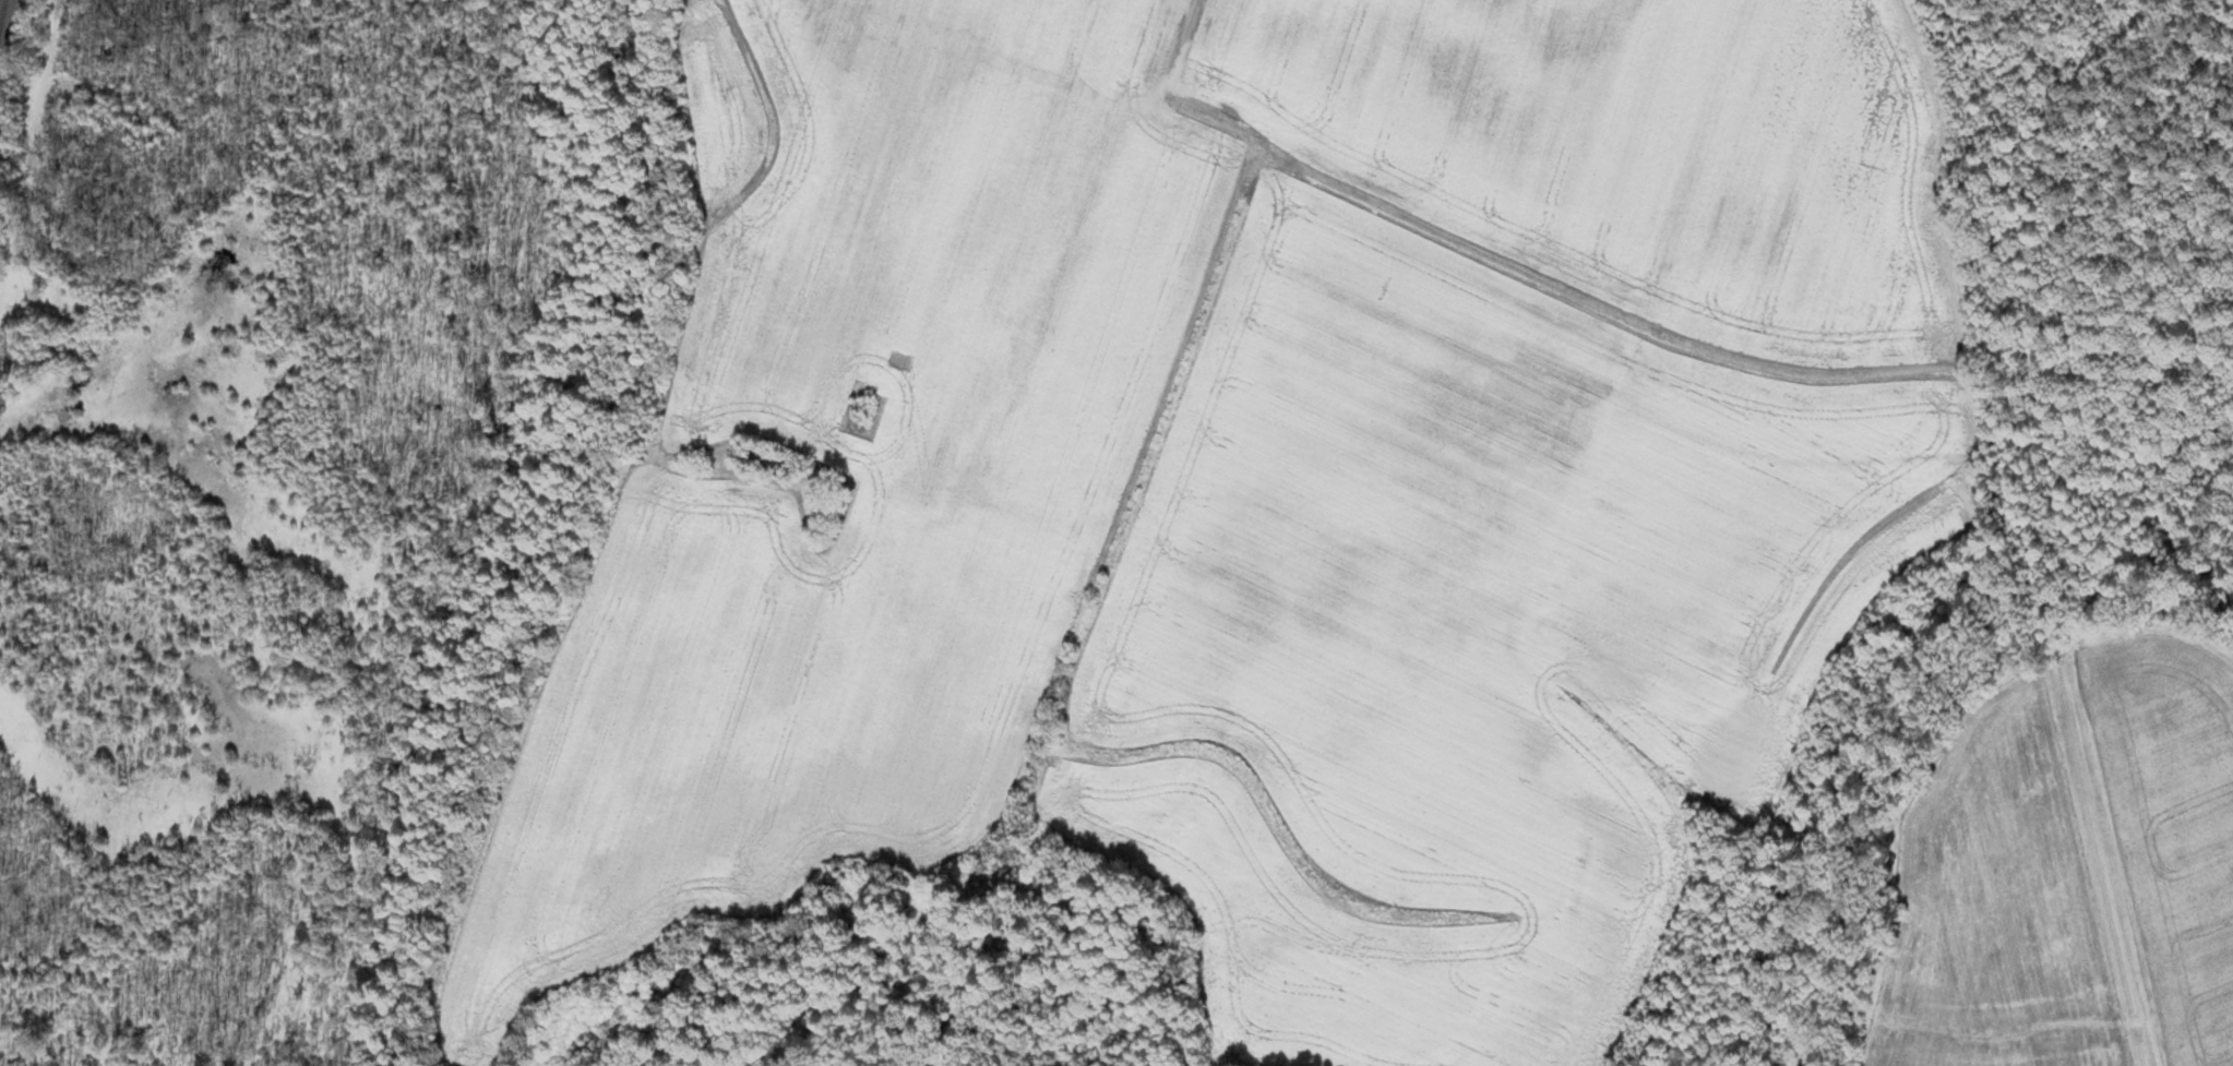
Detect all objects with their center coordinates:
railway: (3, 15)
road: (1051, 227)
road: (1501, 407)
building: (765, 459)

